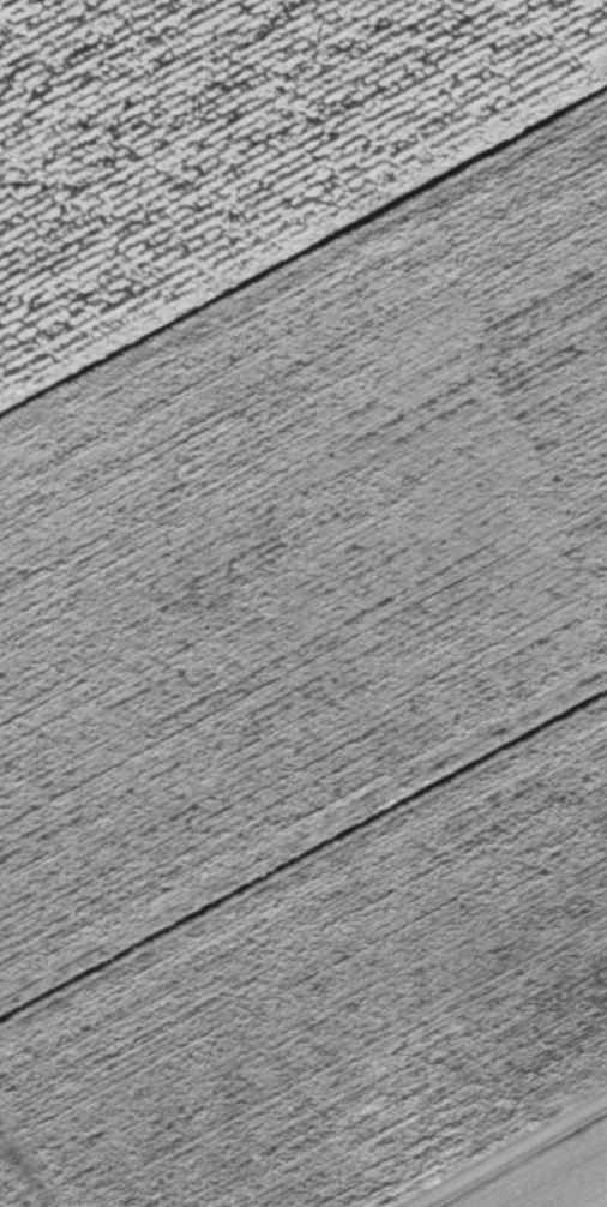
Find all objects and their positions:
road: (506, 1151)

